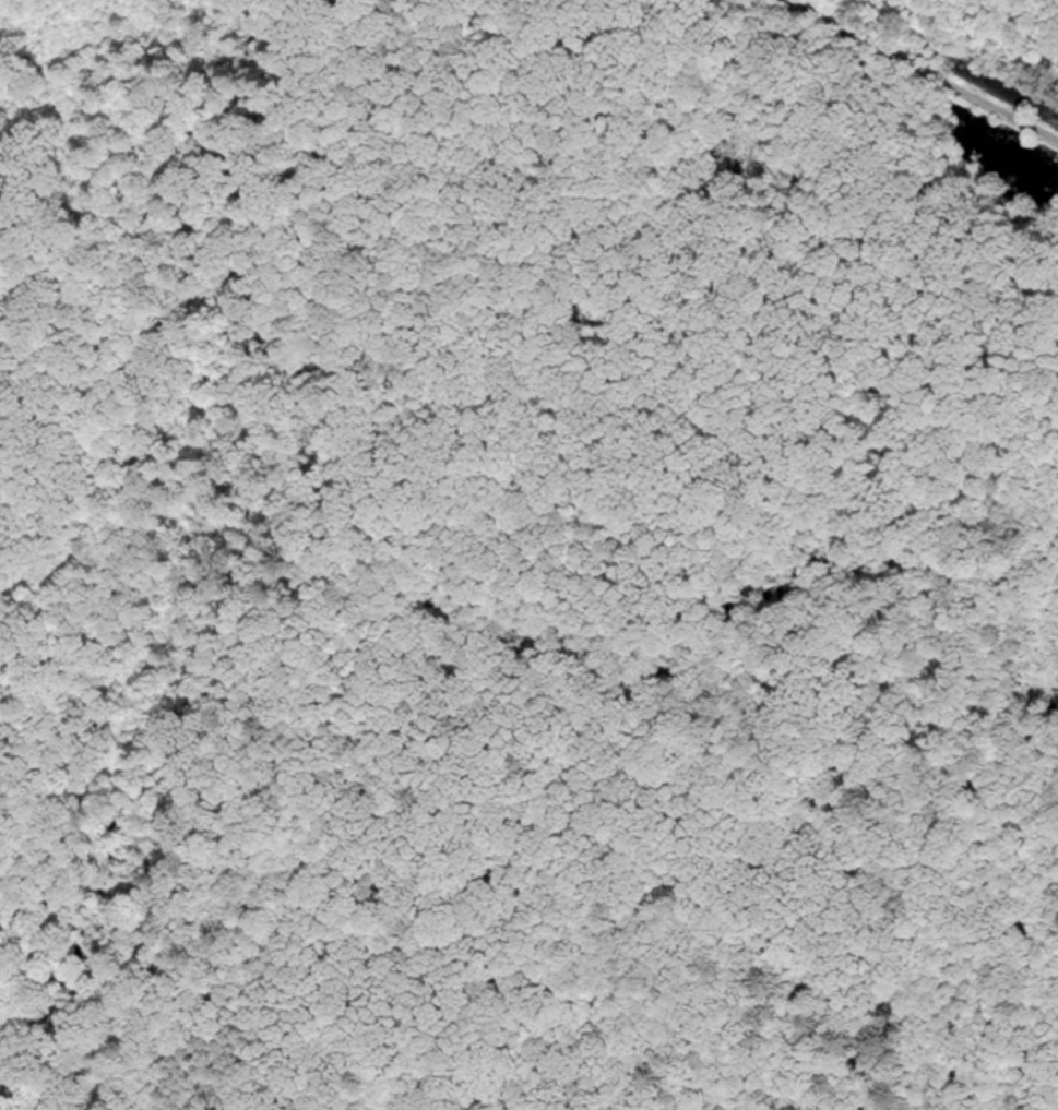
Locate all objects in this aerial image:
road: (922, 69)
park: (528, 554)

